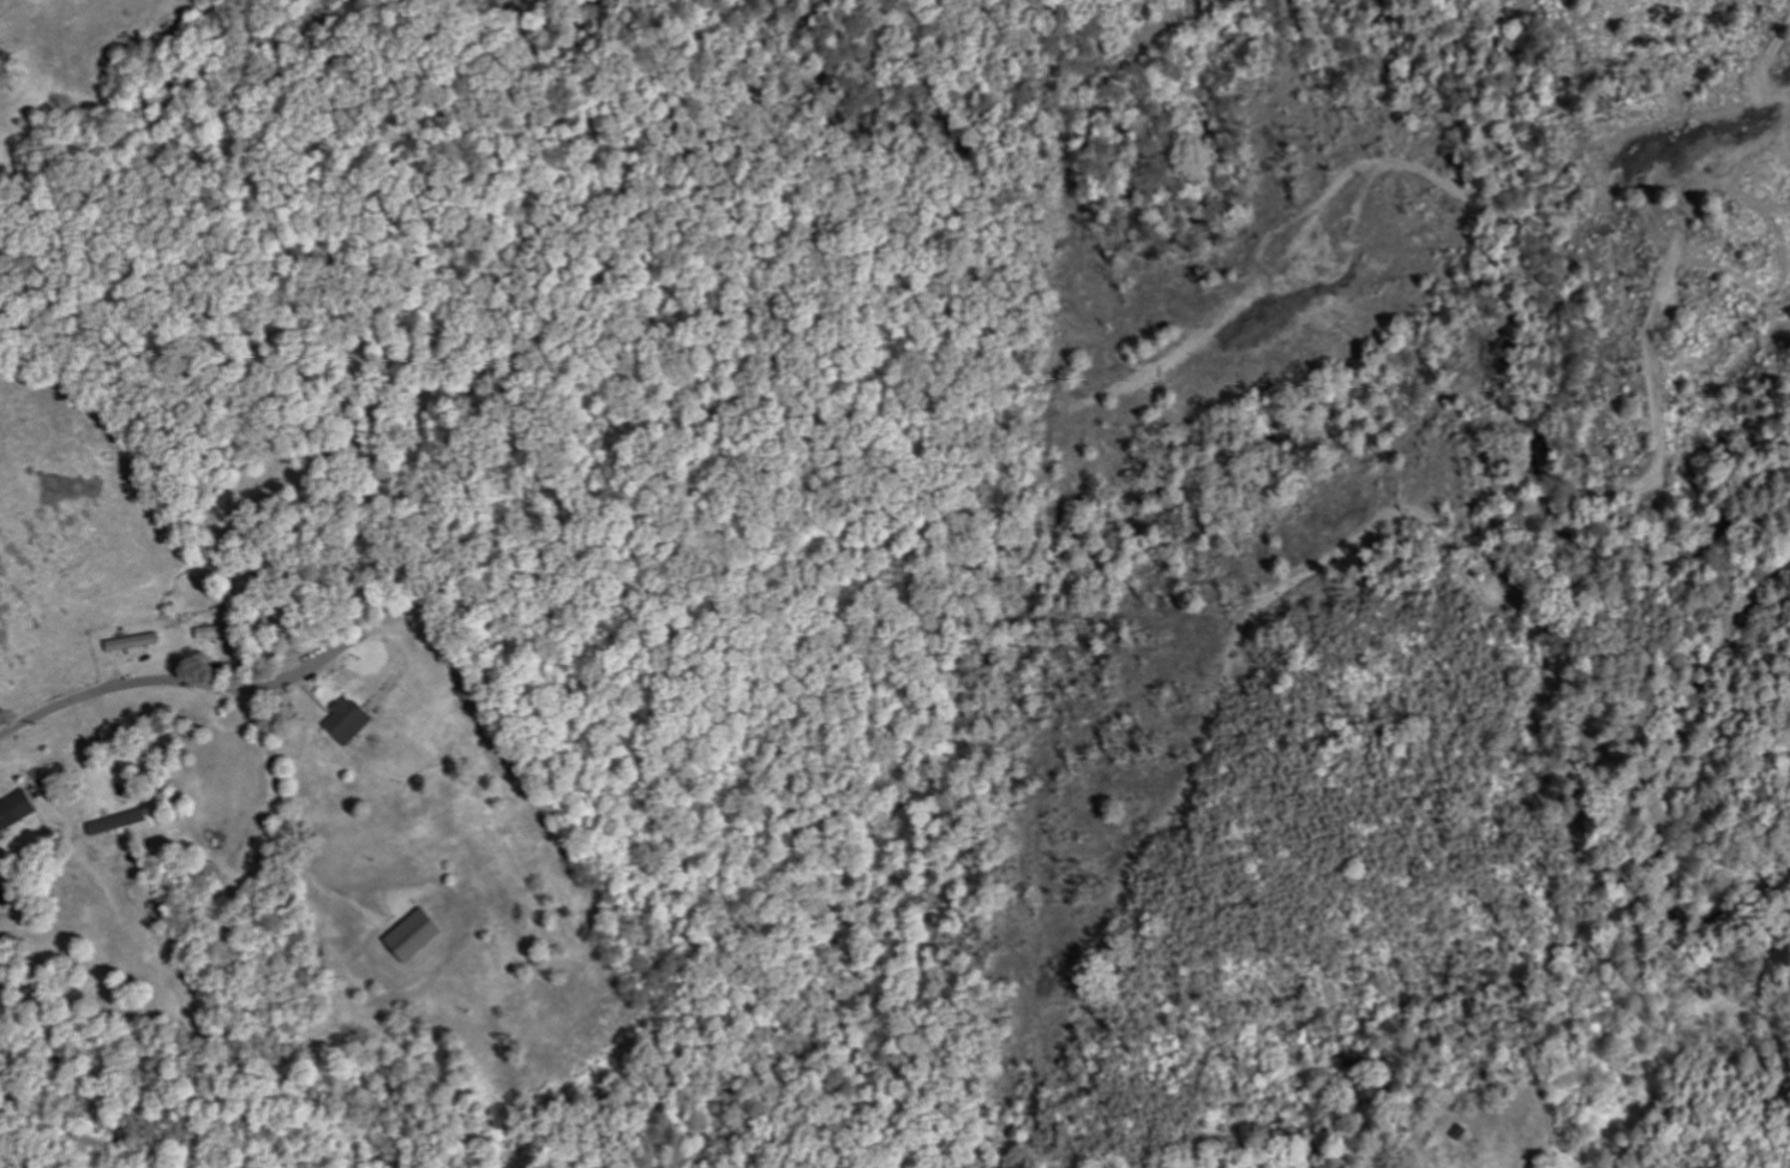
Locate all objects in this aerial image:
building: (223, 633)
building: (138, 645)
road: (142, 682)
building: (354, 721)
building: (20, 813)
building: (124, 822)
building: (419, 936)

